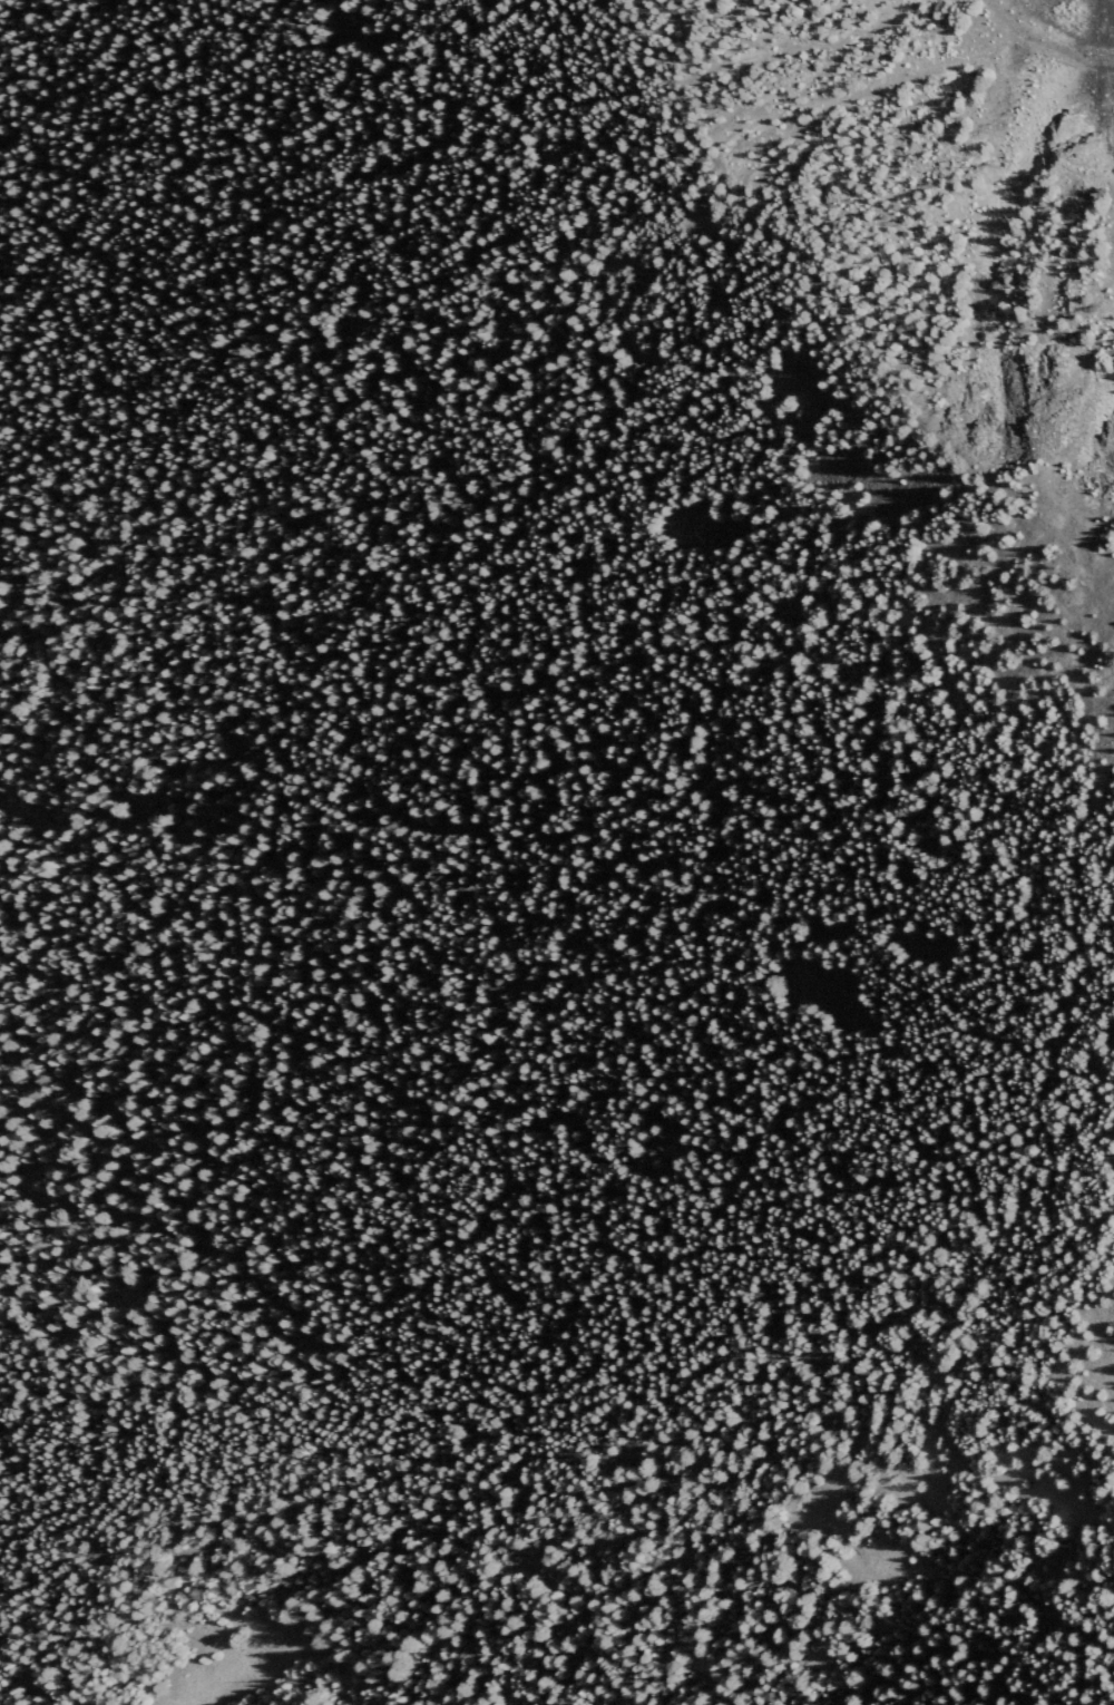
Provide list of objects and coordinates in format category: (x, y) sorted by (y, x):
ski resort: (955, 213)

